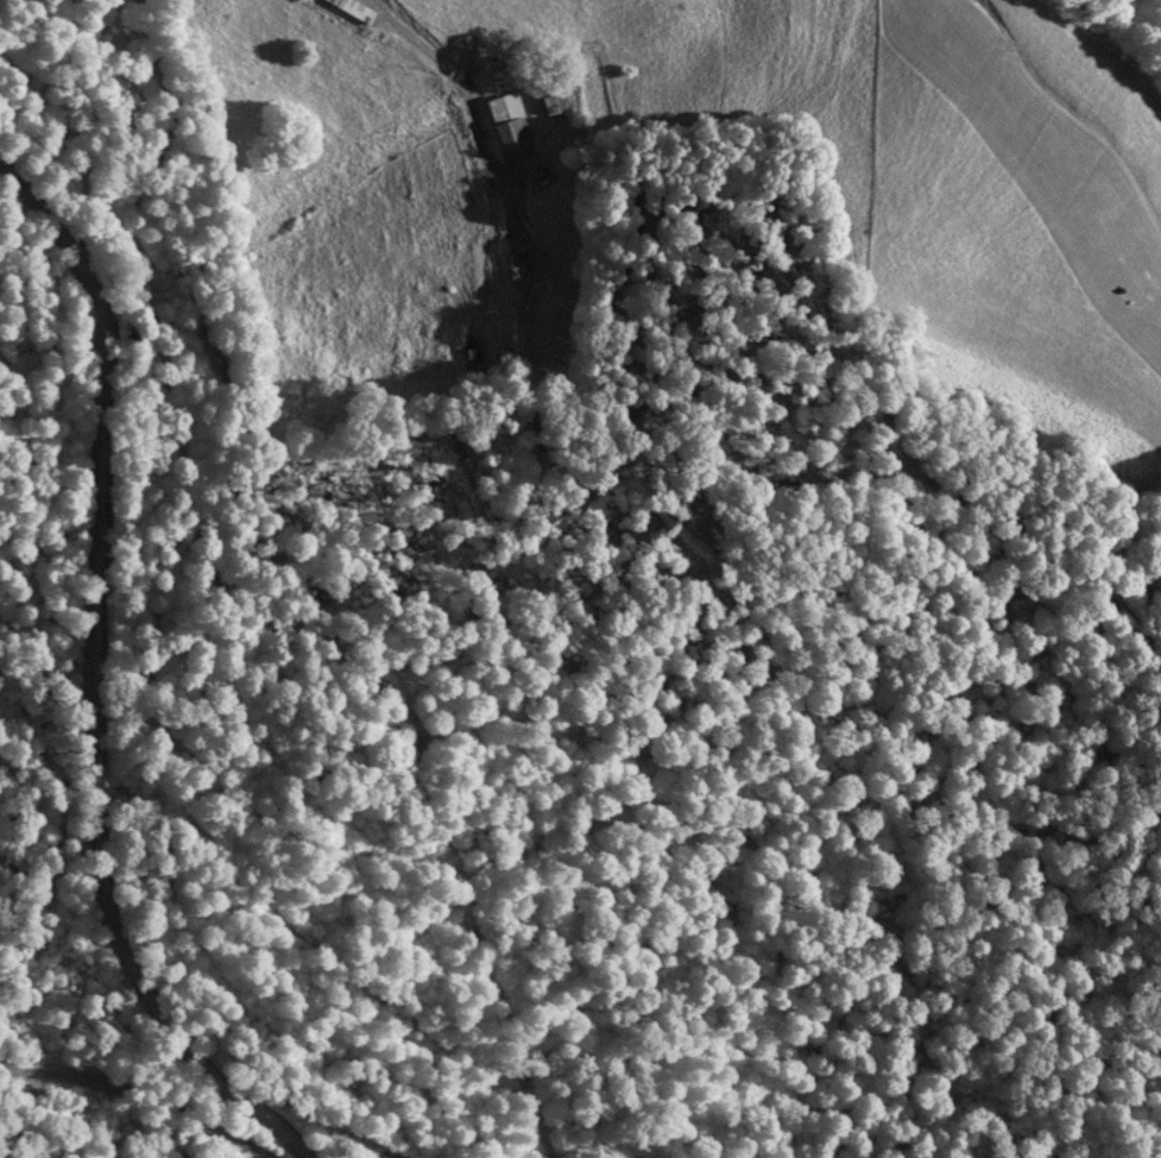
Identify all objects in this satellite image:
building: (351, 8)
building: (550, 99)
road: (444, 101)
road: (1059, 113)
building: (507, 121)
building: (513, 256)
road: (82, 549)
road: (197, 1052)

